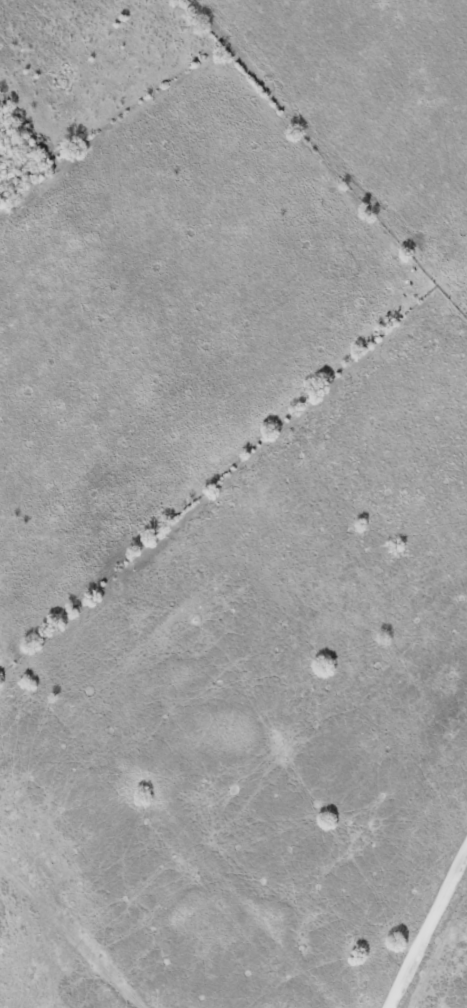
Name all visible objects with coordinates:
road: (74, 930)
road: (428, 932)

